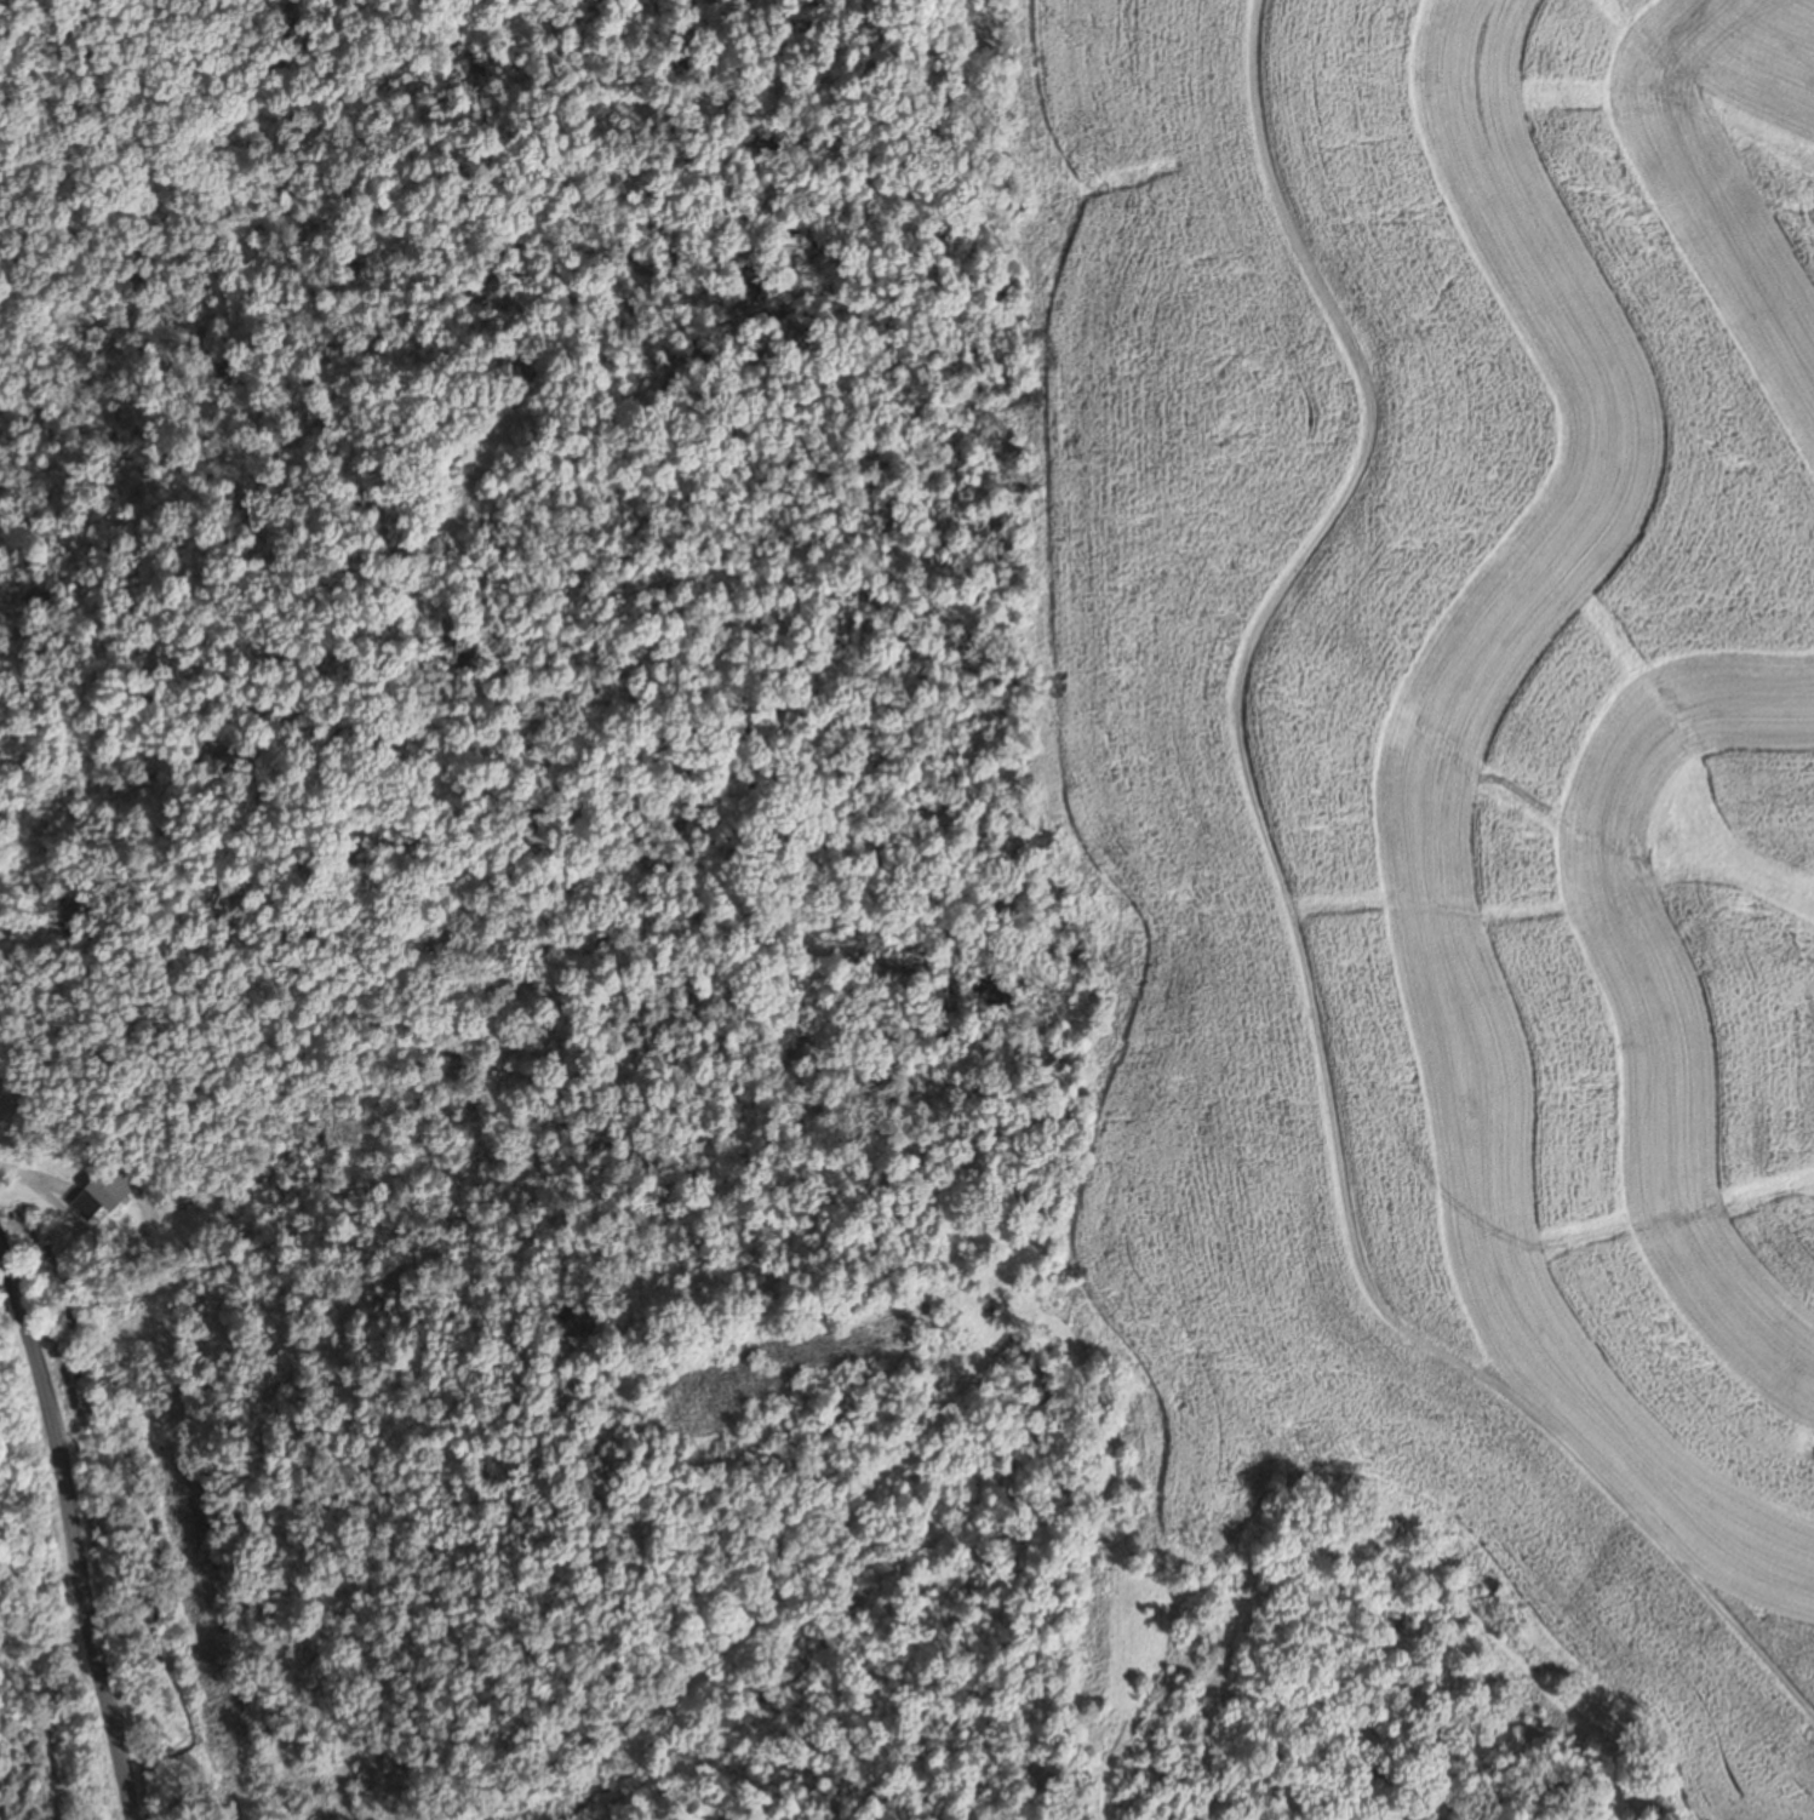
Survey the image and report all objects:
building: (98, 1192)
road: (45, 1661)

